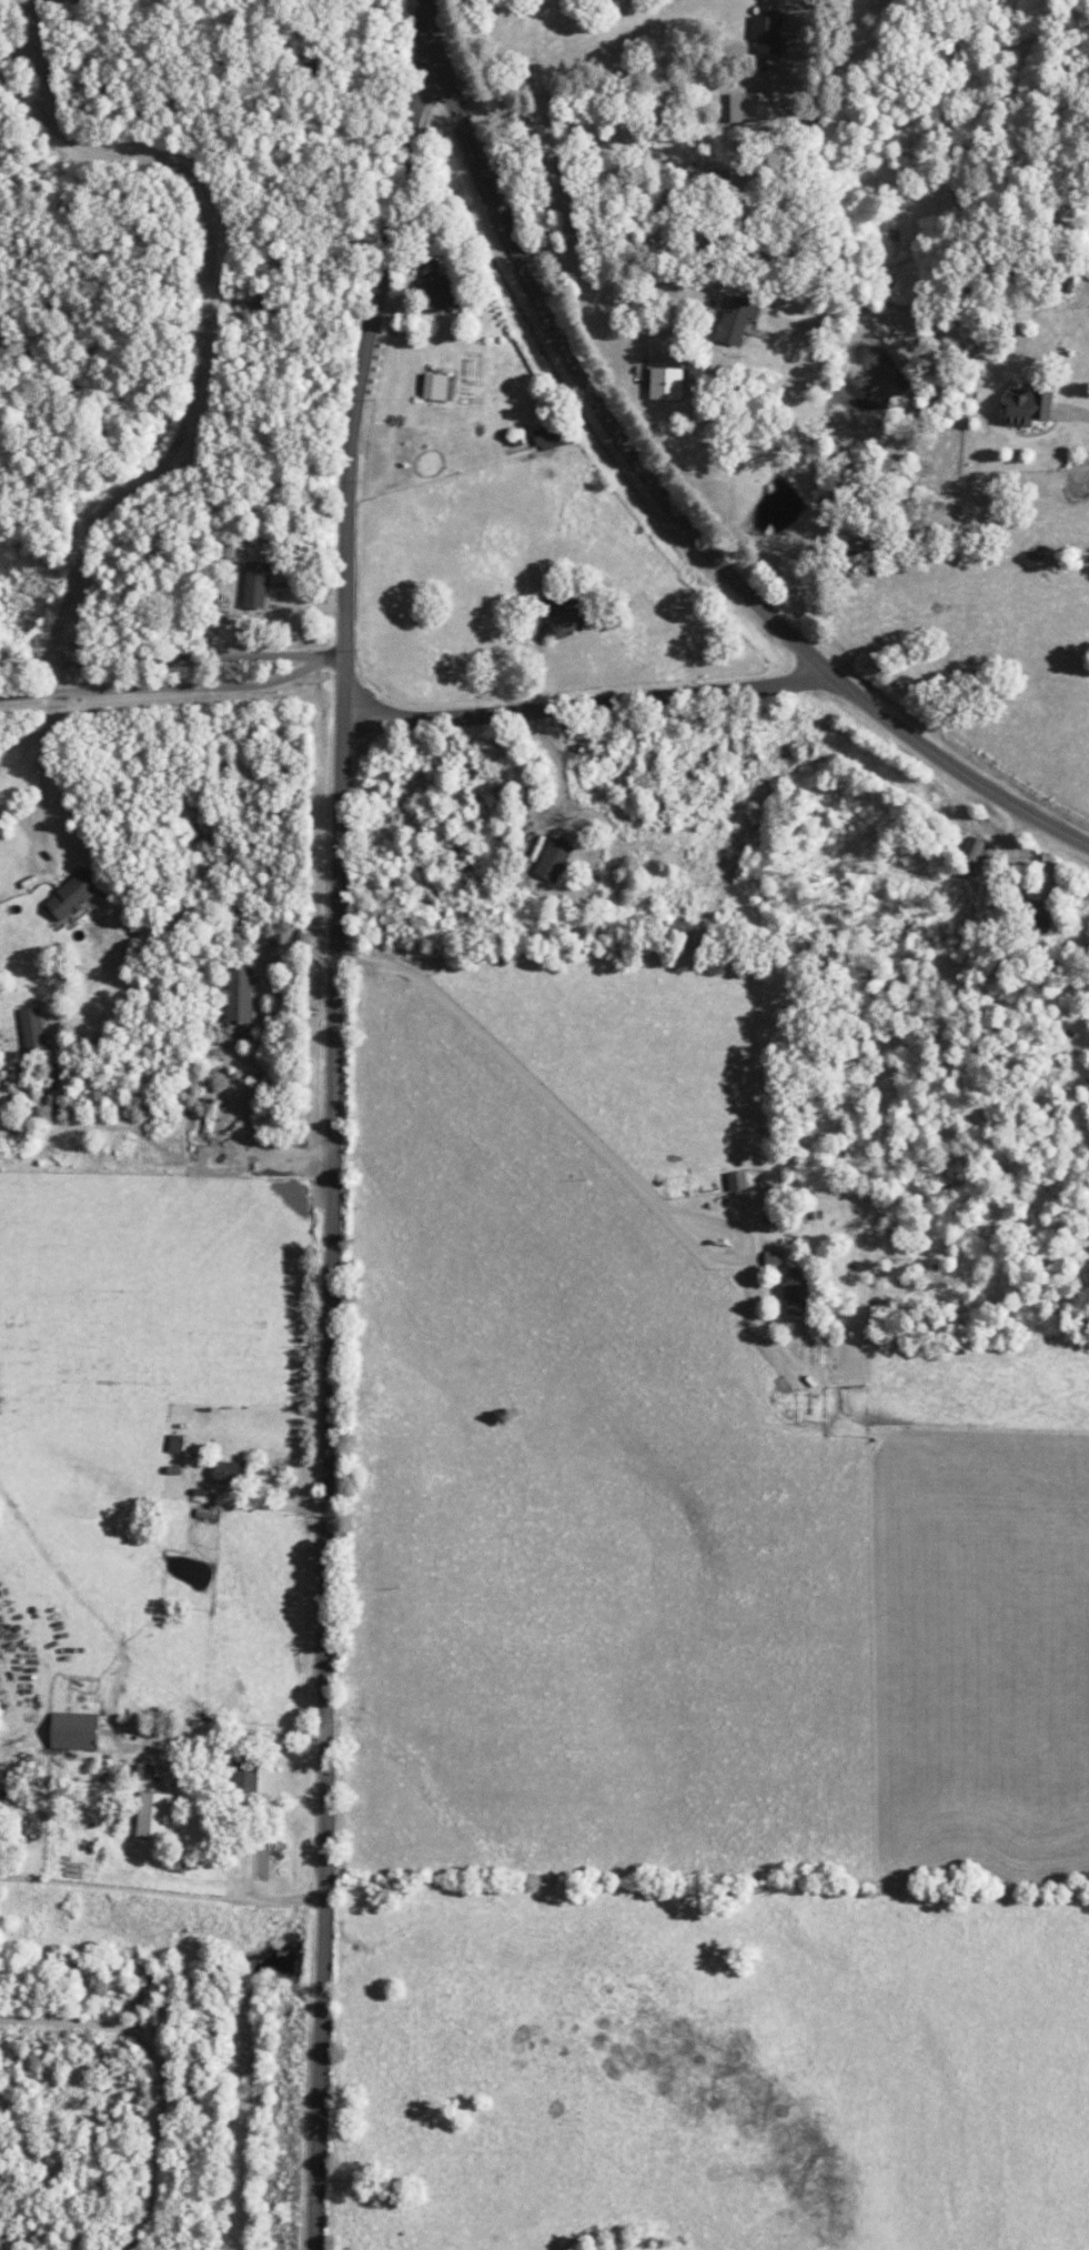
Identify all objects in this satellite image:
building: (766, 29)
road: (605, 83)
building: (750, 109)
road: (387, 222)
building: (436, 287)
building: (795, 302)
building: (734, 321)
road: (208, 338)
building: (665, 383)
building: (436, 386)
building: (1026, 406)
road: (1078, 414)
building: (548, 438)
road: (667, 492)
building: (226, 550)
building: (255, 584)
road: (334, 664)
road: (162, 665)
road: (59, 682)
road: (164, 691)
road: (583, 696)
road: (337, 772)
building: (975, 851)
building: (553, 860)
building: (71, 895)
building: (1038, 917)
building: (239, 994)
building: (31, 1031)
road: (548, 1103)
road: (709, 1219)
building: (773, 1258)
building: (795, 1292)
building: (229, 1473)
road: (322, 1511)
building: (73, 1731)
building: (243, 1775)
building: (155, 1816)
road: (314, 2062)
road: (161, 2071)

